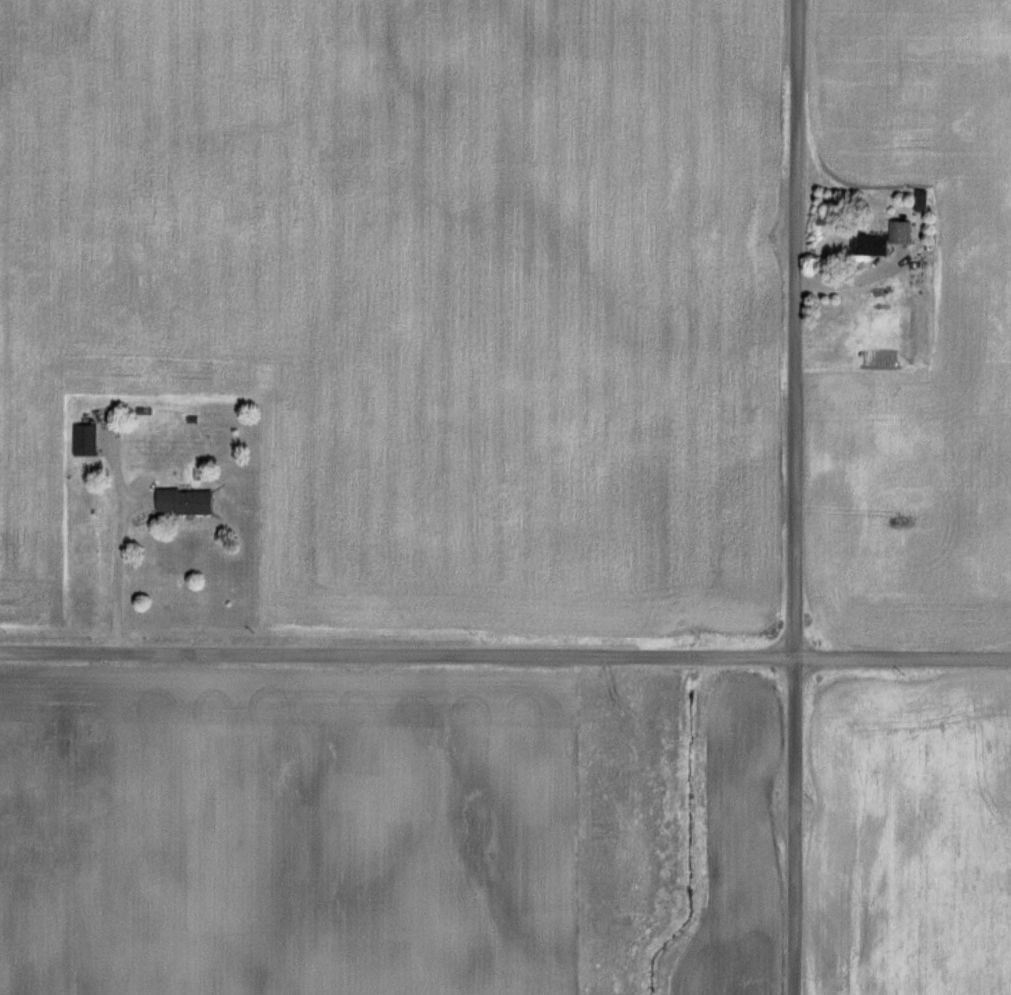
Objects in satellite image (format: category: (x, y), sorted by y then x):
building: (899, 231)
building: (866, 244)
building: (81, 439)
road: (797, 497)
building: (179, 501)
road: (120, 572)
road: (505, 655)

